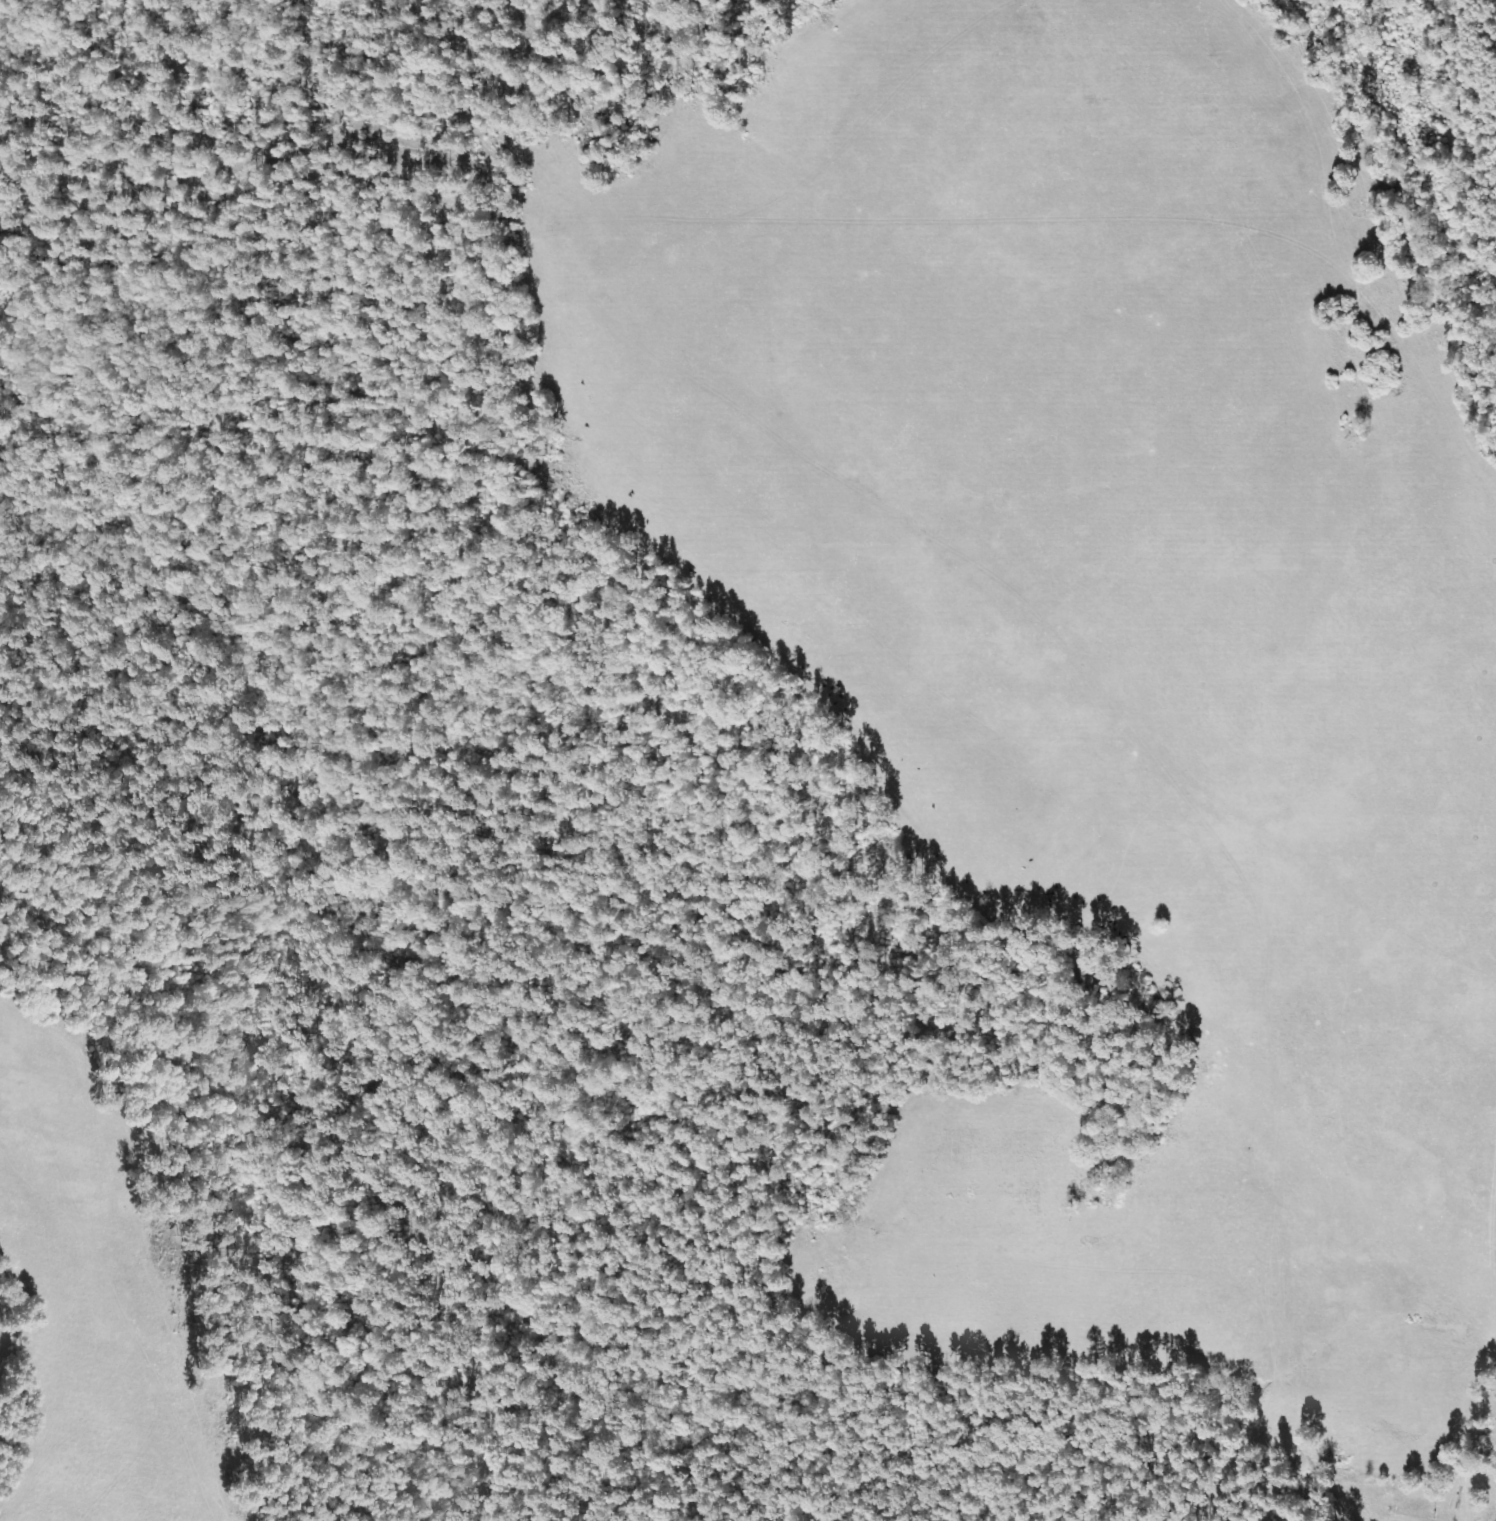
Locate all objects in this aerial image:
road: (1472, 1420)

